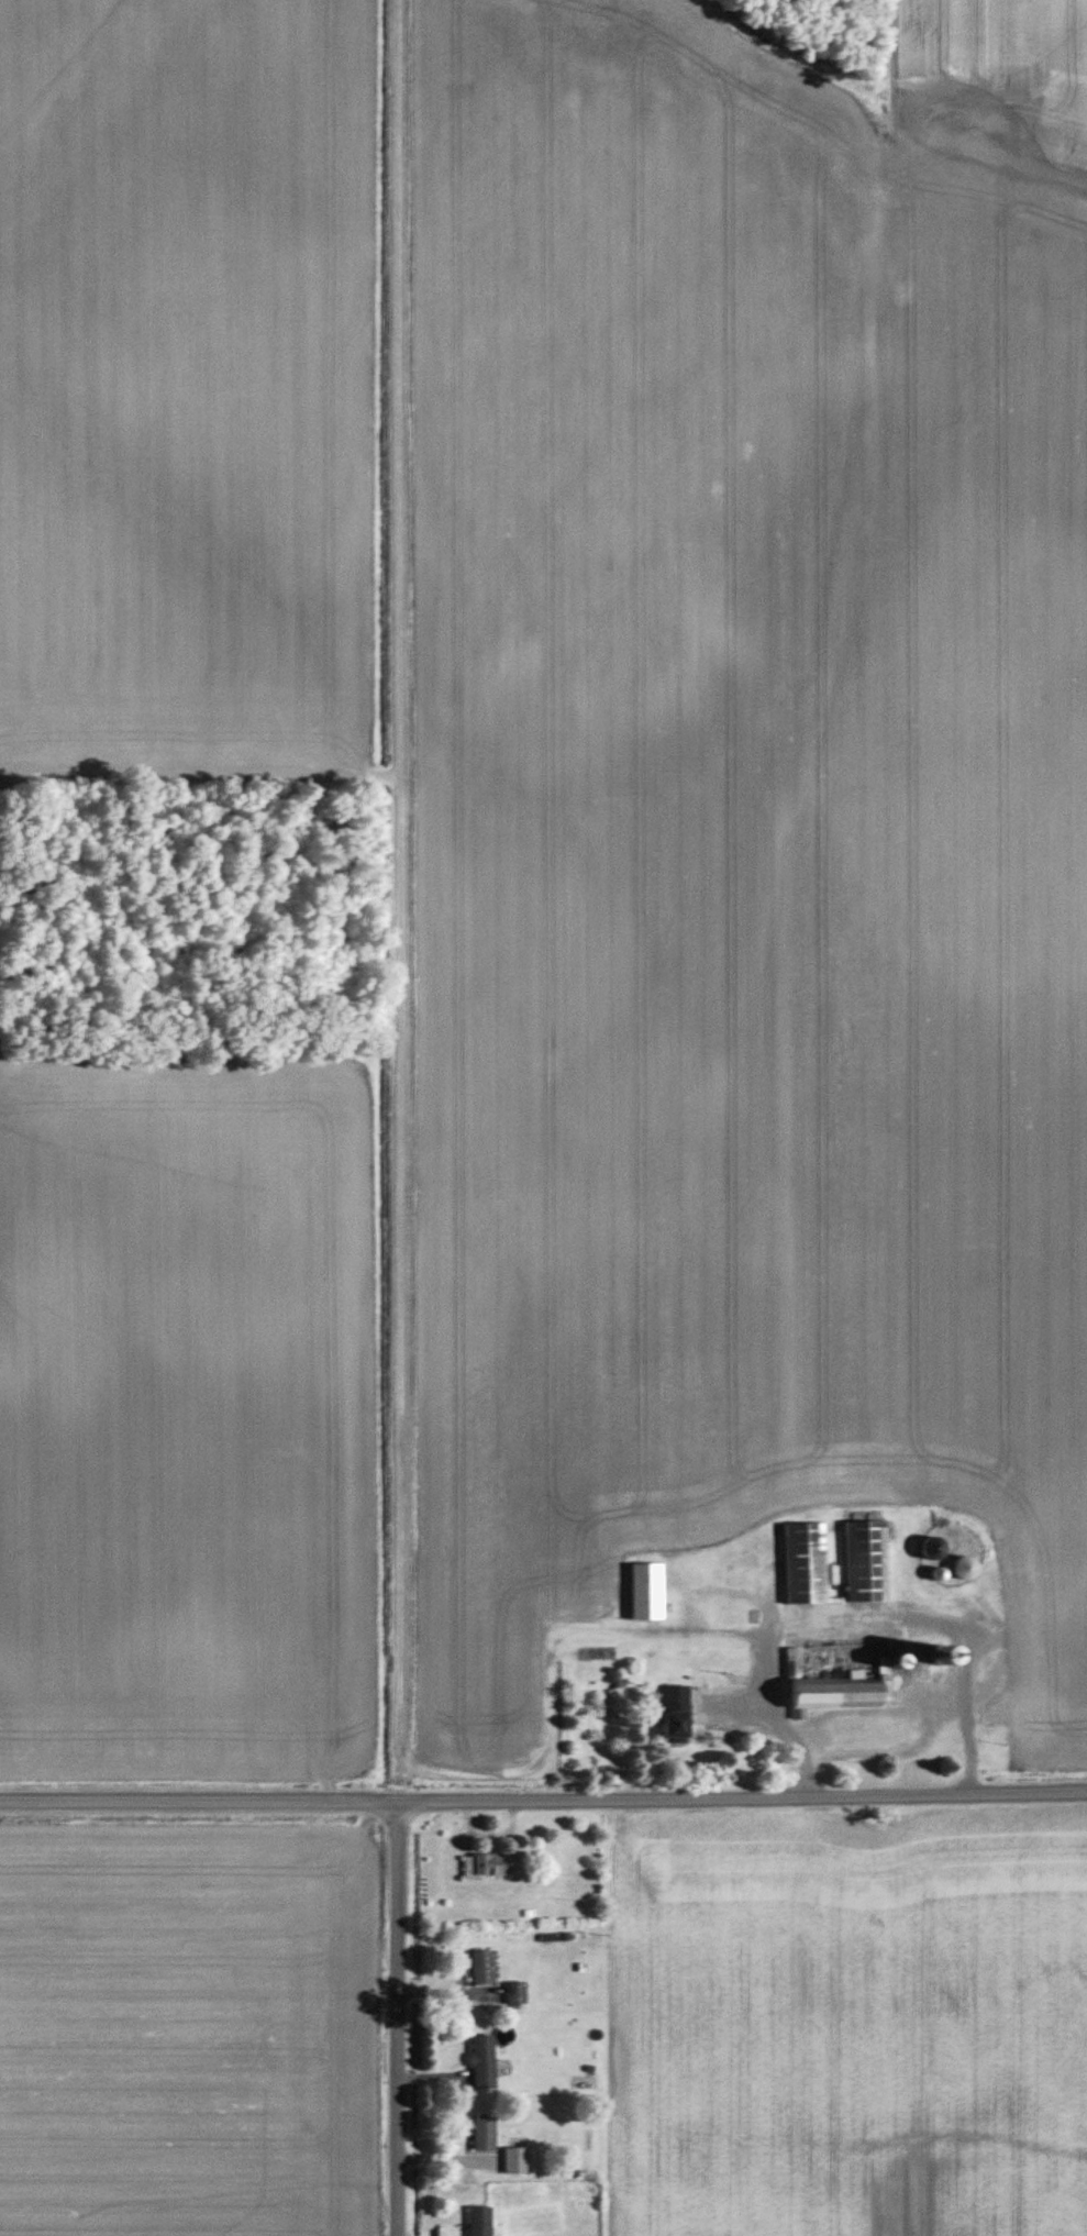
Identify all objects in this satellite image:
road: (400, 900)
building: (865, 1561)
building: (805, 1563)
building: (646, 1592)
road: (861, 1612)
building: (733, 1617)
building: (847, 1643)
building: (943, 1652)
building: (736, 1667)
building: (830, 1691)
building: (759, 1700)
building: (675, 1713)
building: (843, 1733)
road: (743, 1794)
road: (200, 1800)
building: (485, 1867)
building: (483, 1967)
building: (515, 1993)
road: (400, 2018)
building: (483, 2062)
building: (586, 2083)
building: (484, 2135)
building: (514, 2161)
building: (479, 2222)

